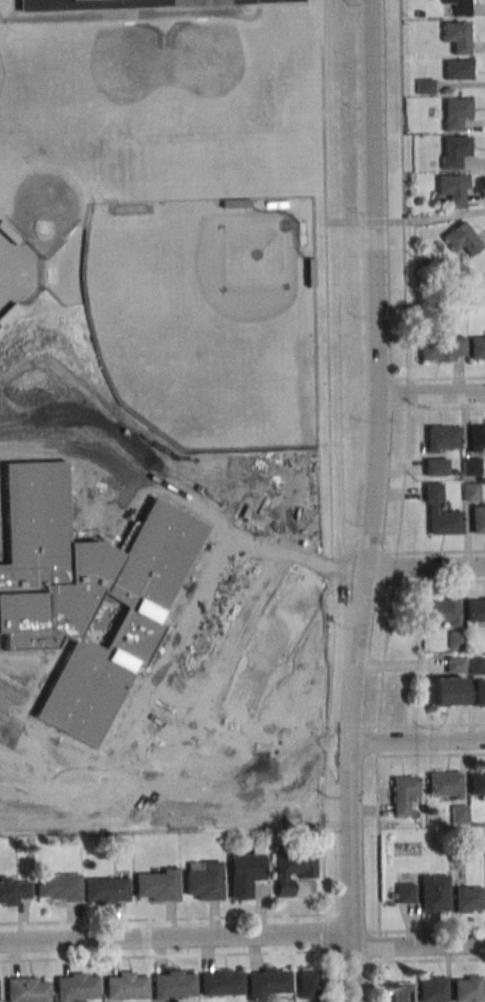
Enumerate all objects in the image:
building: (120, 4)
building: (458, 7)
road: (12, 9)
road: (162, 12)
building: (419, 14)
building: (456, 36)
park: (206, 63)
park: (123, 64)
building: (458, 69)
park: (1, 74)
building: (424, 86)
building: (456, 112)
building: (454, 150)
building: (452, 188)
road: (402, 189)
building: (418, 201)
road: (483, 202)
park: (43, 205)
road: (437, 217)
road: (345, 222)
road: (377, 222)
building: (8, 233)
building: (461, 238)
park: (16, 272)
building: (310, 273)
building: (7, 313)
park: (203, 321)
building: (442, 348)
building: (477, 349)
road: (446, 378)
road: (431, 392)
road: (446, 408)
building: (442, 439)
building: (477, 439)
road: (405, 466)
building: (471, 467)
building: (436, 468)
road: (330, 476)
building: (471, 493)
road: (371, 501)
building: (440, 513)
building: (478, 521)
road: (424, 566)
road: (393, 569)
building: (84, 592)
building: (475, 611)
building: (441, 612)
building: (457, 640)
road: (384, 654)
building: (454, 664)
building: (475, 667)
building: (448, 694)
building: (479, 694)
road: (431, 725)
road: (353, 727)
road: (416, 741)
road: (430, 754)
building: (476, 783)
building: (444, 784)
building: (402, 793)
building: (458, 814)
road: (376, 829)
building: (484, 850)
building: (456, 853)
building: (291, 871)
building: (244, 873)
building: (203, 879)
building: (156, 885)
building: (57, 887)
building: (14, 890)
building: (105, 890)
building: (404, 893)
building: (433, 893)
building: (467, 899)
road: (162, 919)
road: (176, 937)
road: (418, 945)
road: (378, 946)
road: (162, 956)
road: (325, 977)
building: (221, 982)
road: (380, 982)
building: (173, 983)
building: (267, 983)
building: (307, 983)
building: (75, 986)
building: (125, 986)
building: (432, 989)
building: (467, 989)
building: (26, 990)
building: (401, 992)

